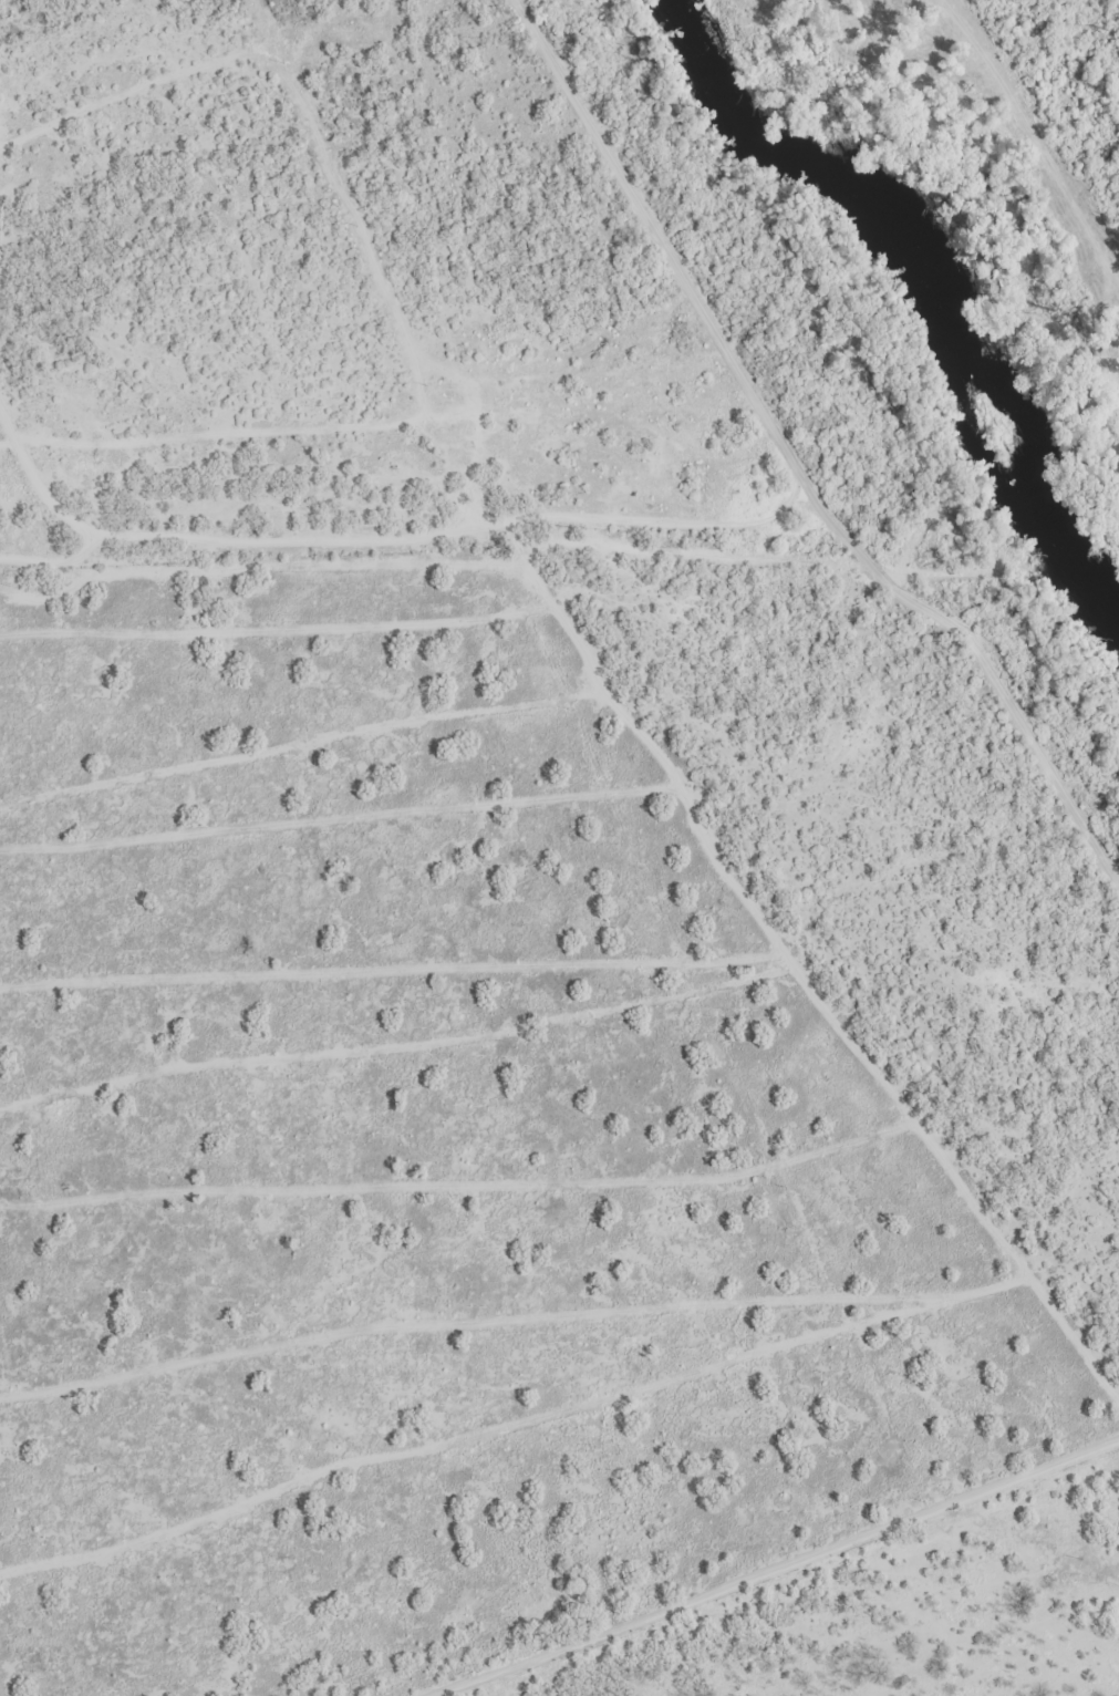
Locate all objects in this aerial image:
road: (1036, 133)
river: (928, 281)
road: (249, 365)
road: (458, 530)

